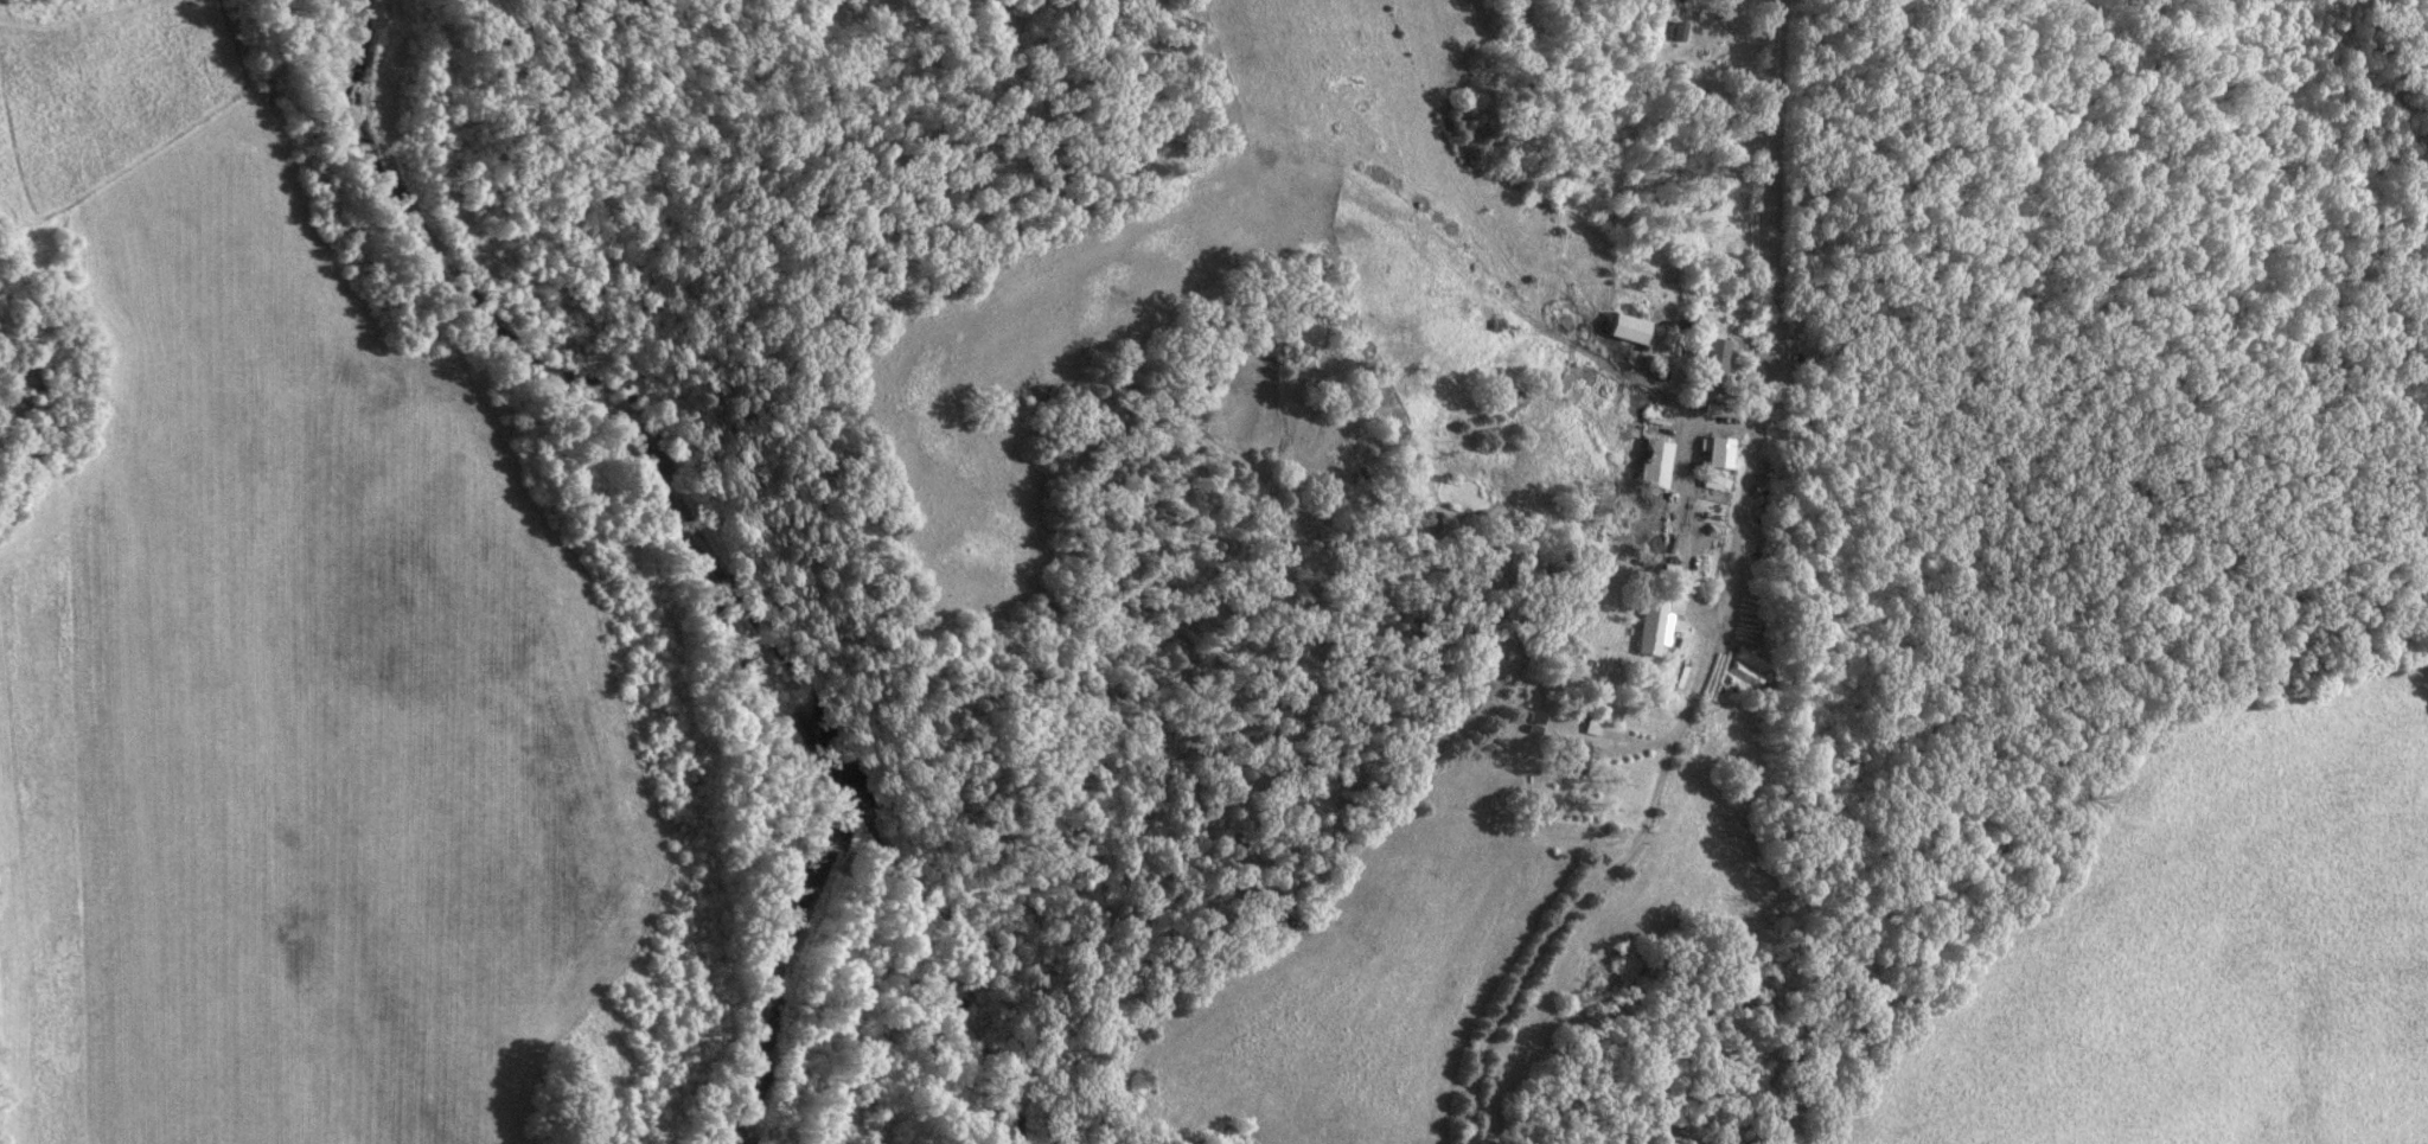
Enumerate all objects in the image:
building: (1628, 330)
building: (1711, 371)
building: (1653, 465)
building: (1711, 482)
road: (1682, 492)
road: (1720, 603)
building: (1648, 626)
building: (1568, 758)

